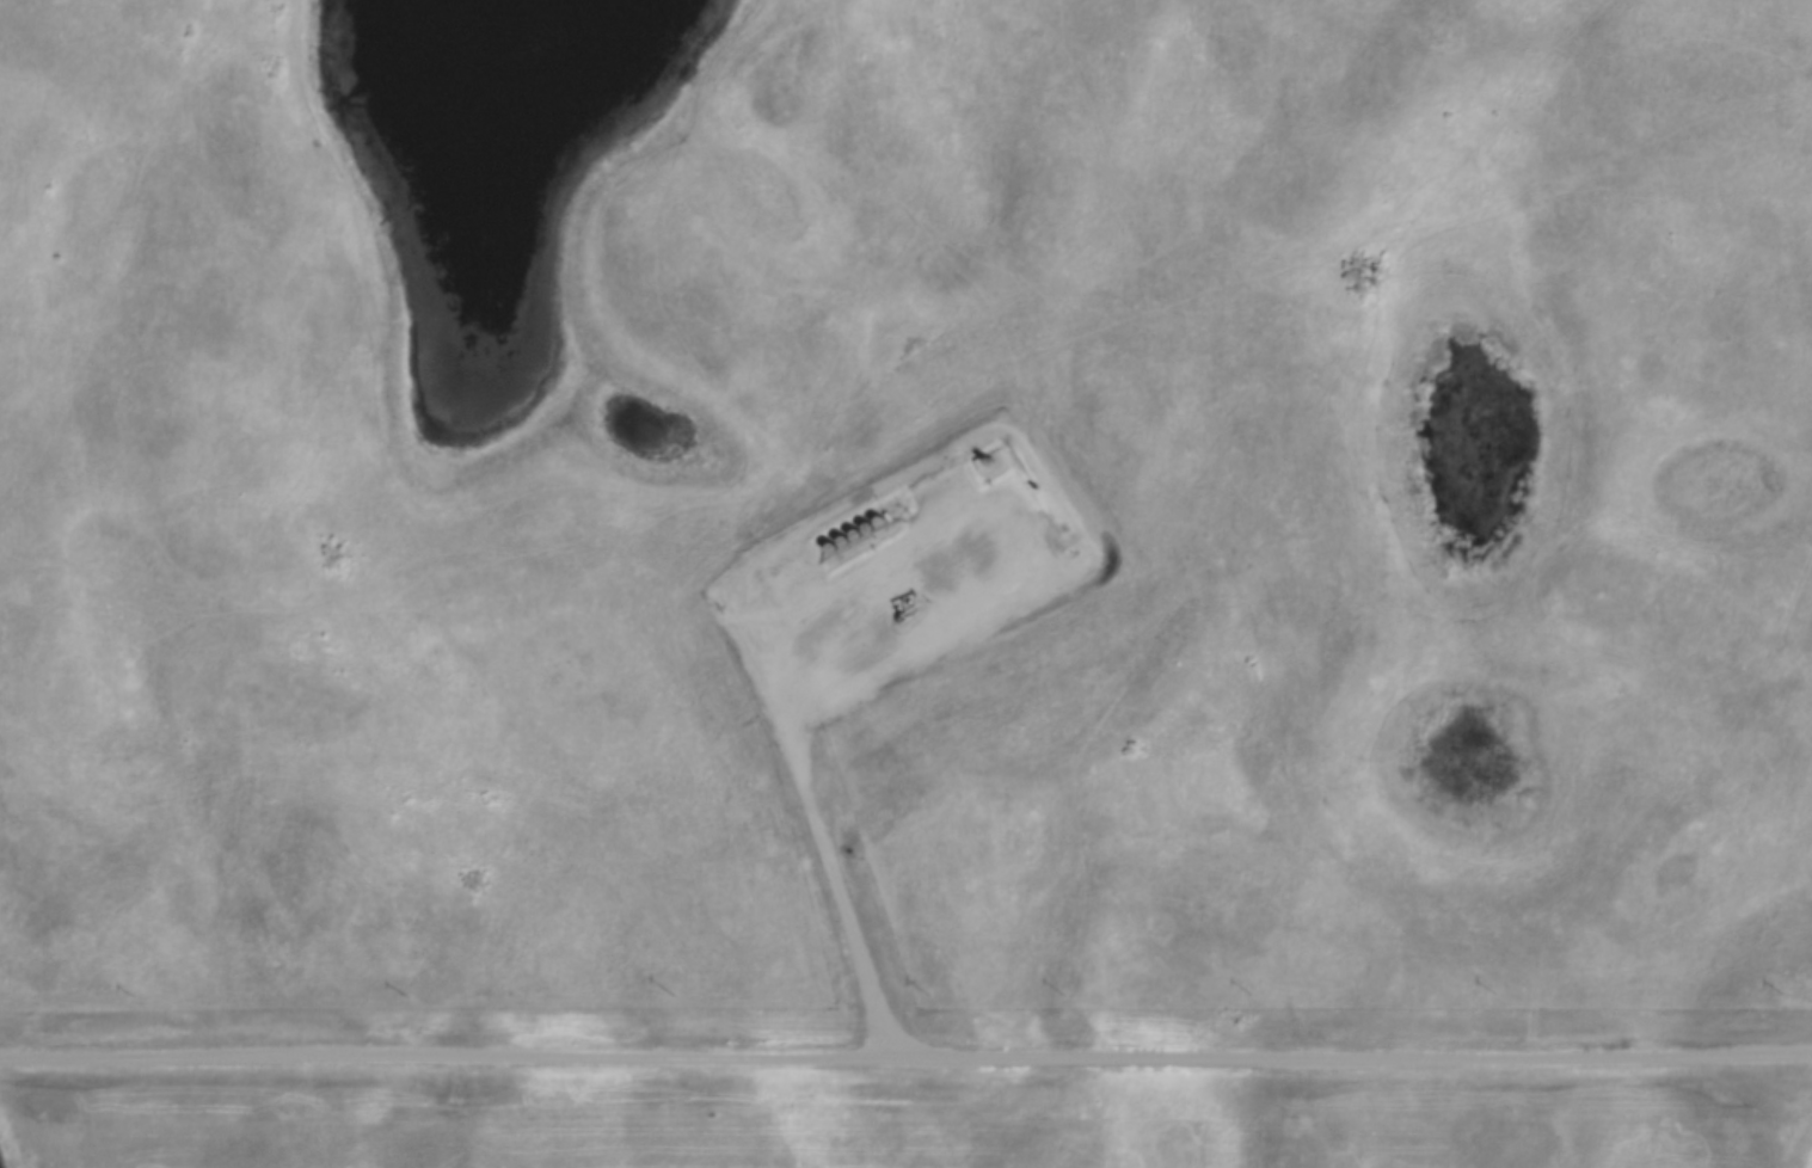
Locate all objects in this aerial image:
road: (799, 719)
road: (452, 1053)
road: (1358, 1056)

